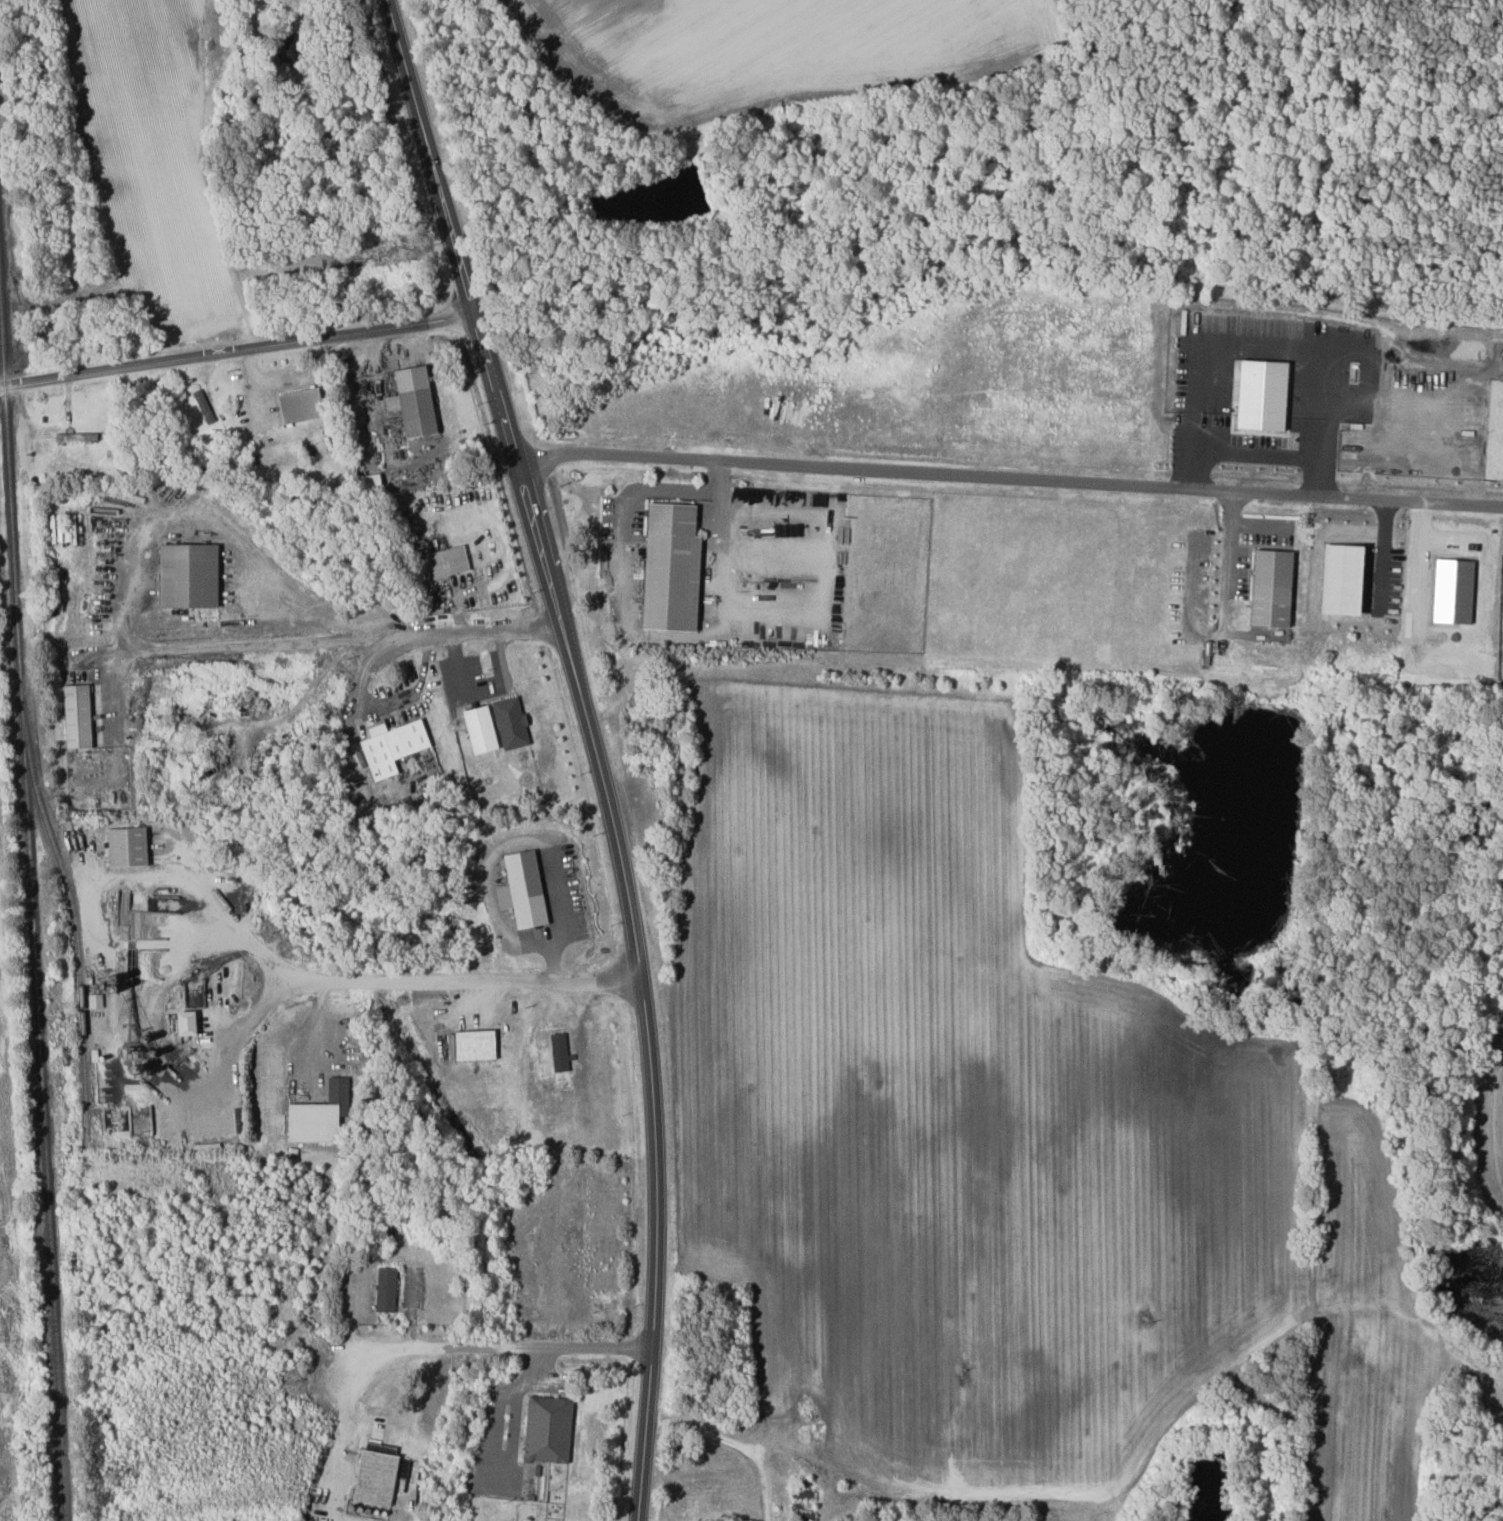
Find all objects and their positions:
road: (259, 9)
road: (236, 349)
building: (412, 400)
building: (299, 404)
building: (203, 405)
road: (1258, 455)
road: (1008, 479)
building: (370, 481)
road: (653, 487)
road: (202, 521)
road: (1258, 527)
road: (721, 544)
road: (1383, 551)
building: (447, 560)
building: (668, 567)
building: (187, 574)
building: (1341, 577)
building: (1271, 586)
road: (1224, 587)
road: (337, 641)
road: (482, 689)
road: (386, 705)
building: (76, 715)
building: (510, 722)
building: (479, 728)
building: (391, 745)
road: (594, 749)
road: (518, 839)
building: (126, 846)
building: (522, 889)
railway: (70, 912)
railway: (34, 923)
road: (241, 936)
road: (465, 981)
building: (184, 1022)
road: (577, 1025)
road: (244, 1027)
road: (315, 1033)
building: (474, 1044)
building: (542, 1054)
building: (560, 1057)
building: (318, 1114)
building: (385, 1289)
road: (496, 1347)
road: (514, 1404)
road: (342, 1426)
building: (547, 1429)
road: (733, 1442)

